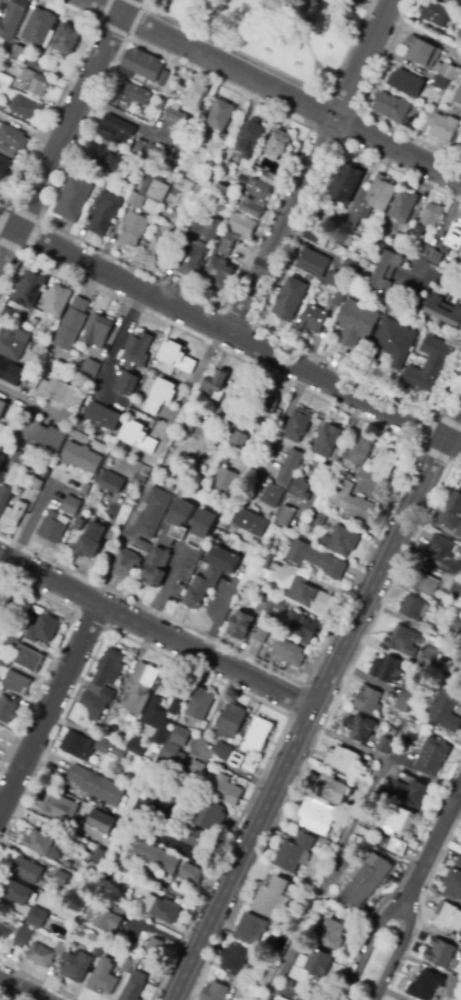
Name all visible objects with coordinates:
building: (455, 2)
building: (436, 13)
building: (12, 19)
building: (40, 26)
park: (281, 31)
building: (460, 32)
road: (121, 34)
building: (68, 39)
building: (458, 41)
building: (18, 51)
building: (421, 52)
building: (142, 64)
building: (44, 67)
road: (277, 70)
building: (448, 72)
building: (125, 74)
building: (164, 78)
building: (5, 80)
building: (34, 83)
building: (406, 83)
building: (441, 83)
building: (451, 88)
road: (275, 90)
building: (167, 91)
road: (61, 93)
building: (131, 93)
building: (197, 96)
building: (457, 97)
building: (0, 103)
building: (391, 107)
building: (26, 108)
building: (176, 114)
road: (71, 115)
road: (120, 115)
building: (220, 116)
building: (439, 126)
building: (116, 131)
building: (12, 138)
building: (250, 139)
building: (181, 143)
building: (278, 144)
building: (140, 145)
building: (460, 145)
building: (153, 150)
building: (7, 152)
building: (108, 159)
road: (310, 166)
building: (126, 169)
building: (5, 170)
building: (272, 179)
building: (346, 184)
building: (154, 189)
building: (258, 189)
building: (222, 191)
building: (73, 199)
building: (135, 200)
building: (367, 206)
building: (155, 207)
building: (402, 207)
building: (253, 208)
building: (103, 212)
building: (430, 219)
building: (197, 223)
road: (37, 225)
building: (243, 225)
road: (8, 226)
building: (213, 228)
building: (132, 230)
building: (316, 236)
building: (453, 240)
building: (400, 241)
building: (162, 242)
road: (7, 245)
building: (423, 251)
building: (190, 258)
building: (436, 258)
building: (313, 263)
building: (221, 264)
building: (457, 269)
building: (387, 271)
road: (431, 276)
building: (342, 277)
building: (30, 290)
road: (270, 292)
building: (290, 299)
building: (57, 300)
building: (338, 300)
road: (220, 309)
building: (444, 311)
building: (35, 315)
building: (313, 319)
building: (356, 323)
building: (72, 324)
building: (98, 332)
road: (229, 332)
building: (13, 336)
building: (393, 342)
building: (136, 350)
road: (221, 350)
road: (116, 353)
building: (176, 357)
building: (429, 365)
building: (91, 368)
building: (9, 372)
building: (127, 383)
building: (215, 385)
building: (61, 393)
building: (160, 396)
road: (28, 399)
building: (2, 407)
building: (264, 410)
building: (193, 412)
building: (17, 416)
building: (103, 417)
road: (286, 424)
building: (298, 426)
building: (233, 428)
road: (427, 433)
building: (42, 434)
building: (138, 437)
building: (241, 439)
road: (452, 442)
building: (326, 443)
building: (1, 452)
building: (358, 453)
building: (81, 459)
building: (384, 465)
building: (338, 466)
building: (2, 475)
building: (282, 479)
building: (226, 480)
building: (111, 483)
building: (36, 485)
building: (300, 490)
building: (348, 497)
building: (4, 498)
building: (73, 502)
building: (453, 512)
building: (152, 513)
building: (14, 516)
building: (284, 516)
building: (317, 520)
building: (177, 523)
building: (250, 523)
building: (81, 524)
building: (52, 528)
building: (202, 528)
building: (459, 532)
building: (91, 541)
building: (341, 541)
building: (143, 547)
building: (443, 555)
building: (316, 559)
building: (262, 560)
building: (127, 563)
building: (249, 567)
building: (156, 568)
building: (211, 575)
building: (427, 586)
road: (165, 588)
building: (456, 589)
building: (311, 597)
building: (5, 606)
building: (260, 607)
building: (274, 607)
building: (413, 608)
building: (460, 611)
building: (457, 624)
building: (241, 625)
building: (426, 628)
building: (43, 629)
building: (305, 629)
road: (155, 632)
building: (262, 634)
building: (12, 639)
building: (403, 640)
road: (55, 651)
building: (289, 652)
building: (430, 653)
building: (28, 659)
building: (4, 664)
building: (424, 664)
building: (387, 669)
building: (16, 682)
building: (103, 684)
building: (140, 688)
building: (408, 693)
road: (314, 699)
building: (367, 700)
building: (402, 704)
road: (49, 706)
building: (197, 706)
building: (174, 708)
building: (6, 709)
building: (446, 710)
road: (214, 712)
building: (156, 720)
building: (229, 722)
building: (95, 728)
building: (361, 729)
road: (320, 731)
building: (258, 734)
building: (180, 736)
building: (385, 745)
building: (77, 746)
building: (137, 748)
building: (111, 749)
building: (222, 751)
building: (173, 754)
building: (236, 758)
building: (433, 758)
building: (342, 760)
building: (195, 770)
building: (360, 781)
building: (189, 782)
building: (97, 786)
building: (170, 788)
building: (332, 789)
building: (361, 789)
building: (226, 790)
building: (410, 794)
building: (59, 806)
building: (211, 816)
building: (317, 817)
building: (401, 821)
building: (101, 822)
building: (141, 826)
building: (198, 839)
road: (344, 841)
building: (41, 844)
road: (179, 845)
road: (433, 845)
building: (398, 847)
building: (295, 853)
building: (99, 856)
building: (153, 856)
building: (458, 863)
building: (68, 864)
building: (27, 870)
building: (192, 873)
building: (61, 878)
building: (367, 881)
building: (43, 885)
building: (453, 885)
building: (17, 892)
building: (270, 897)
building: (64, 899)
building: (324, 905)
building: (165, 911)
building: (36, 917)
building: (448, 918)
building: (111, 920)
building: (252, 931)
building: (23, 934)
building: (332, 934)
road: (367, 944)
building: (95, 945)
building: (154, 947)
building: (60, 949)
road: (395, 952)
building: (439, 953)
building: (40, 956)
building: (236, 960)
building: (315, 963)
building: (126, 965)
building: (76, 966)
building: (103, 978)
building: (311, 982)
building: (425, 985)
road: (3, 987)
building: (134, 987)
road: (20, 988)
building: (455, 989)
building: (214, 992)
building: (304, 998)
road: (1, 999)

